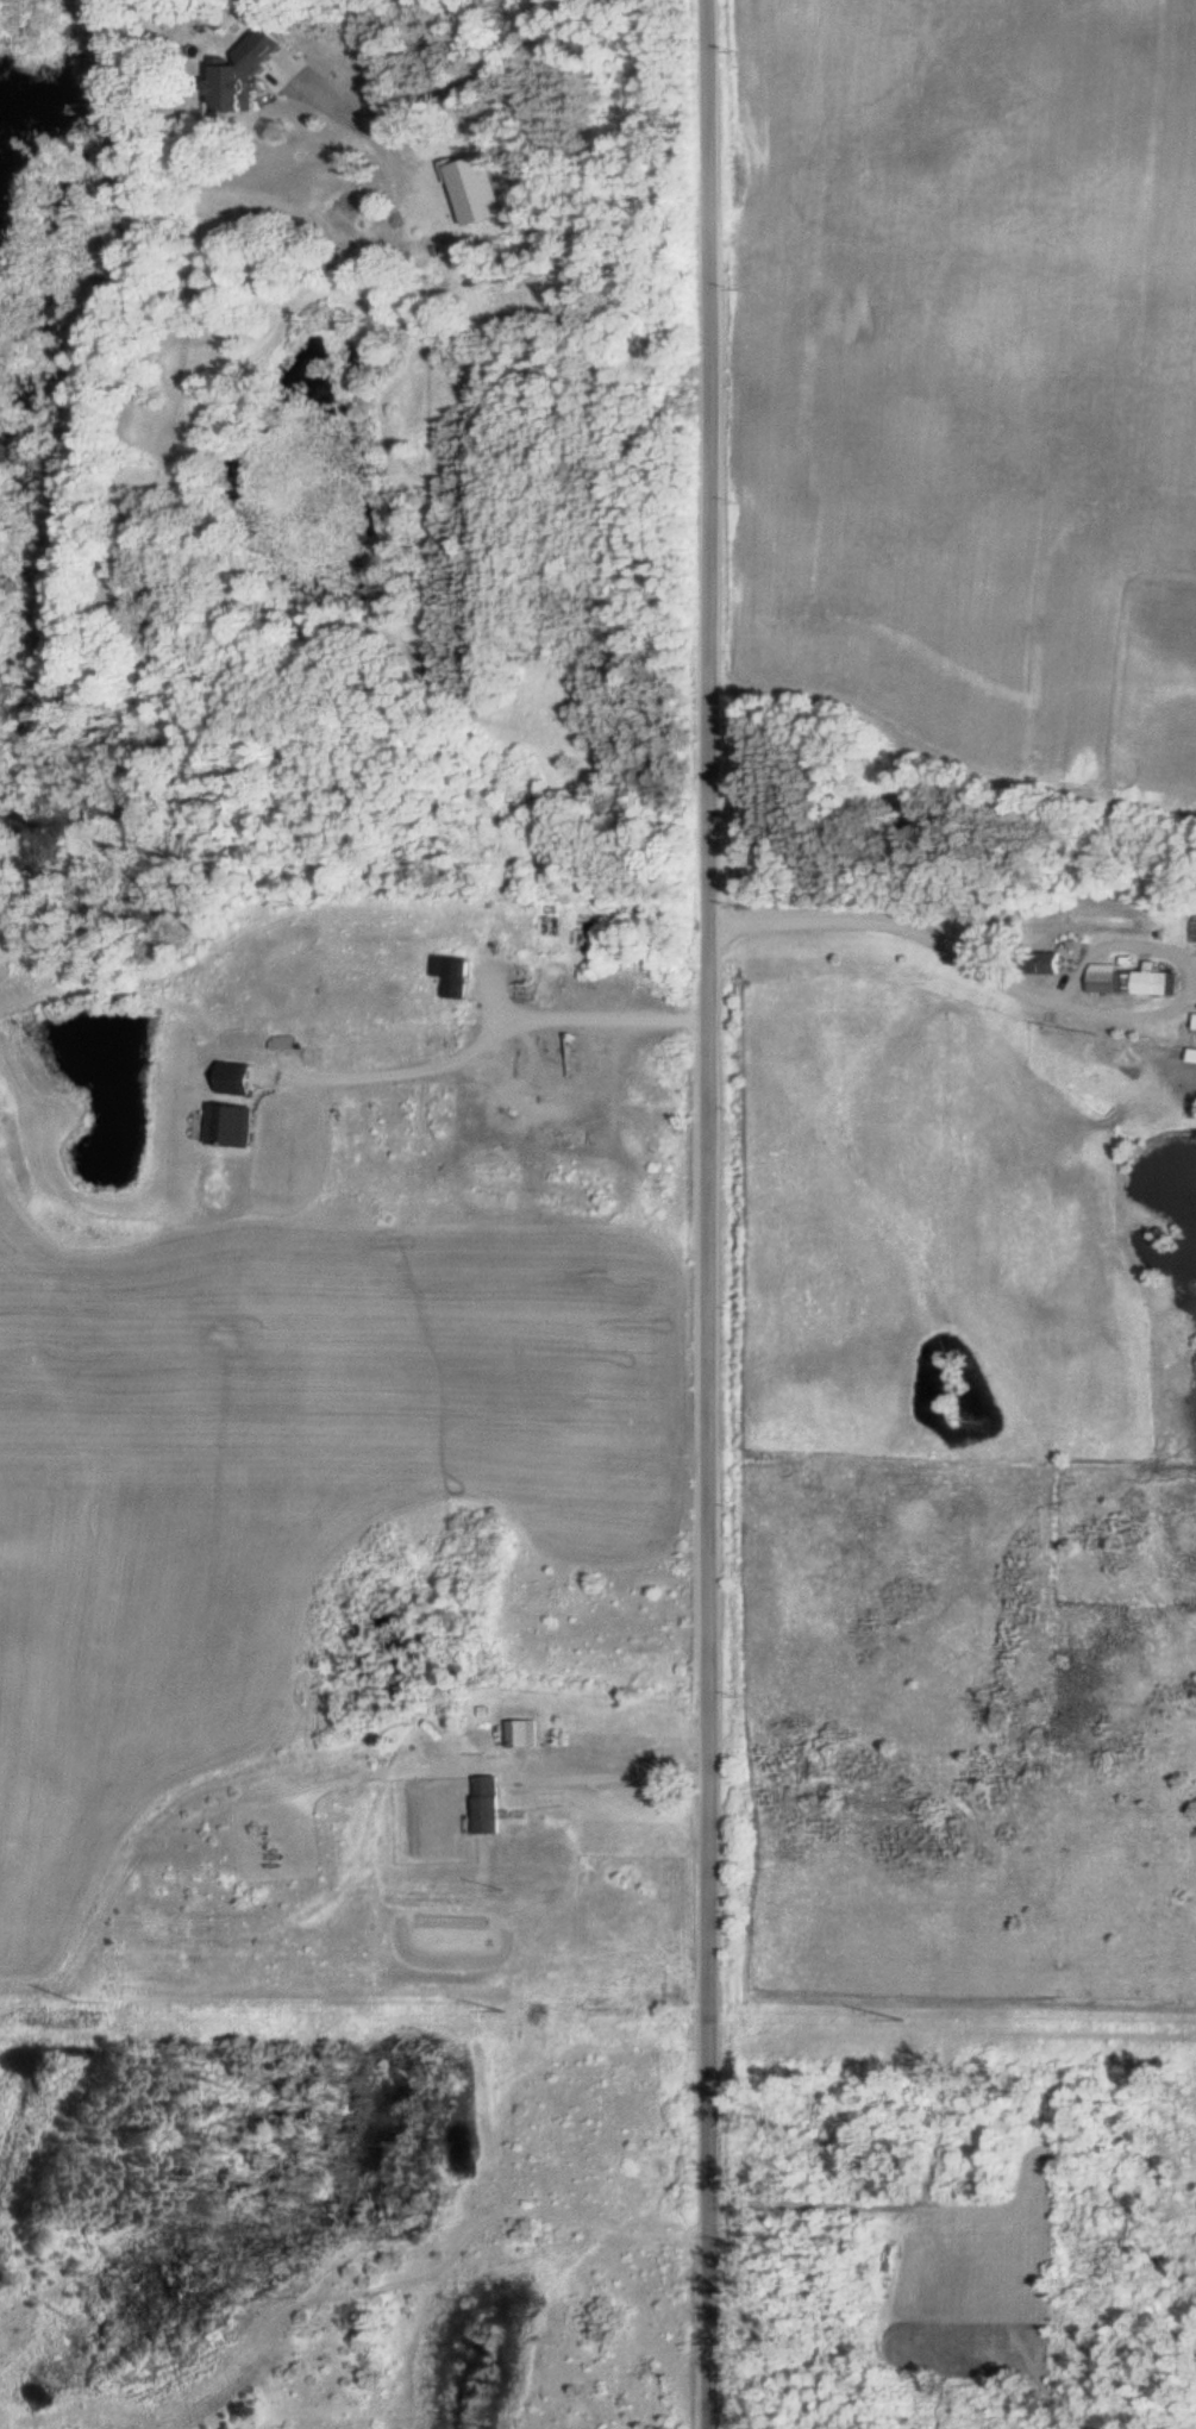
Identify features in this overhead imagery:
building: (187, 35)
building: (1040, 962)
building: (456, 977)
building: (1104, 978)
building: (1156, 981)
building: (1195, 1022)
building: (228, 1125)
road: (708, 1214)
building: (522, 1733)
building: (486, 1804)

